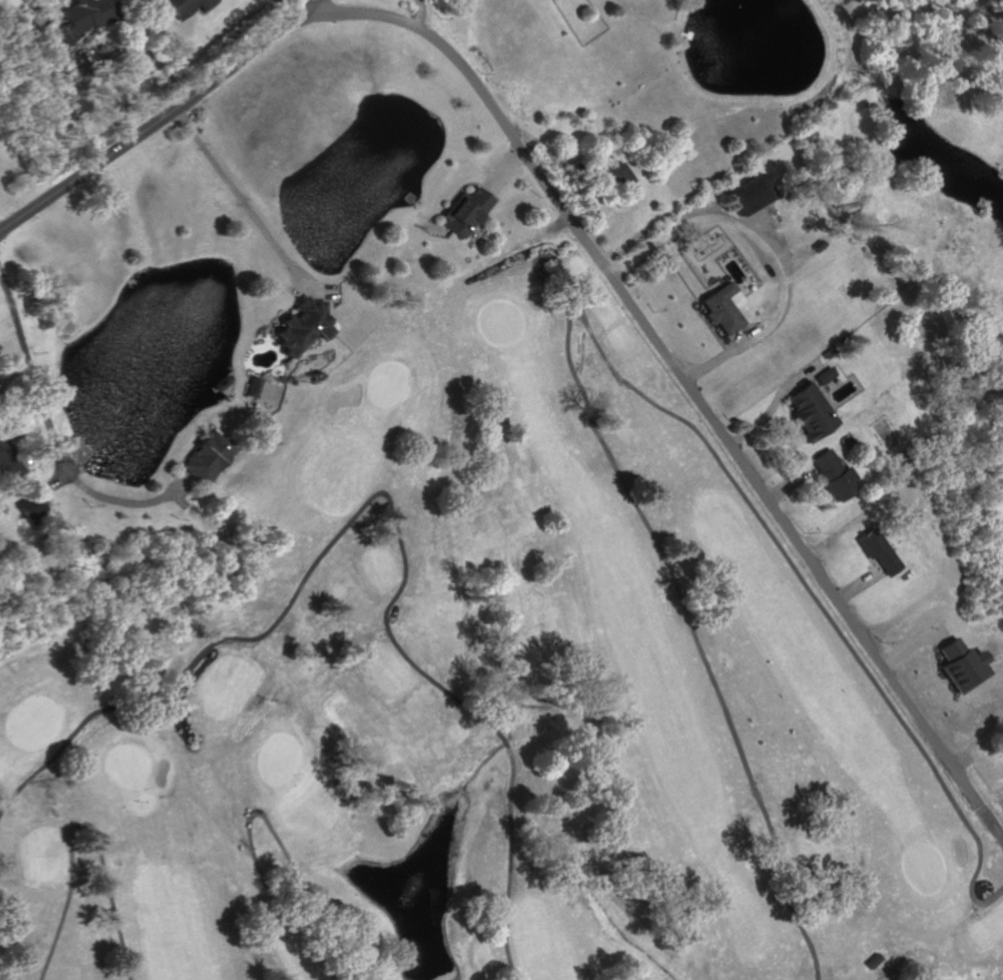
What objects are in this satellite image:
building: (183, 6)
road: (422, 13)
building: (87, 17)
road: (80, 53)
road: (97, 58)
road: (157, 121)
road: (504, 171)
building: (619, 176)
building: (749, 194)
road: (250, 208)
building: (467, 211)
road: (734, 223)
road: (757, 225)
road: (319, 293)
building: (722, 309)
road: (584, 324)
building: (305, 327)
road: (719, 357)
road: (665, 359)
building: (821, 374)
building: (256, 388)
road: (770, 401)
building: (805, 410)
road: (56, 436)
building: (209, 458)
building: (10, 461)
building: (832, 474)
road: (786, 480)
building: (31, 504)
road: (392, 507)
building: (877, 549)
road: (858, 583)
road: (916, 646)
road: (931, 664)
building: (963, 666)
park: (478, 699)
park: (494, 704)
road: (263, 815)
road: (990, 821)
road: (108, 891)
road: (67, 894)
building: (874, 962)

